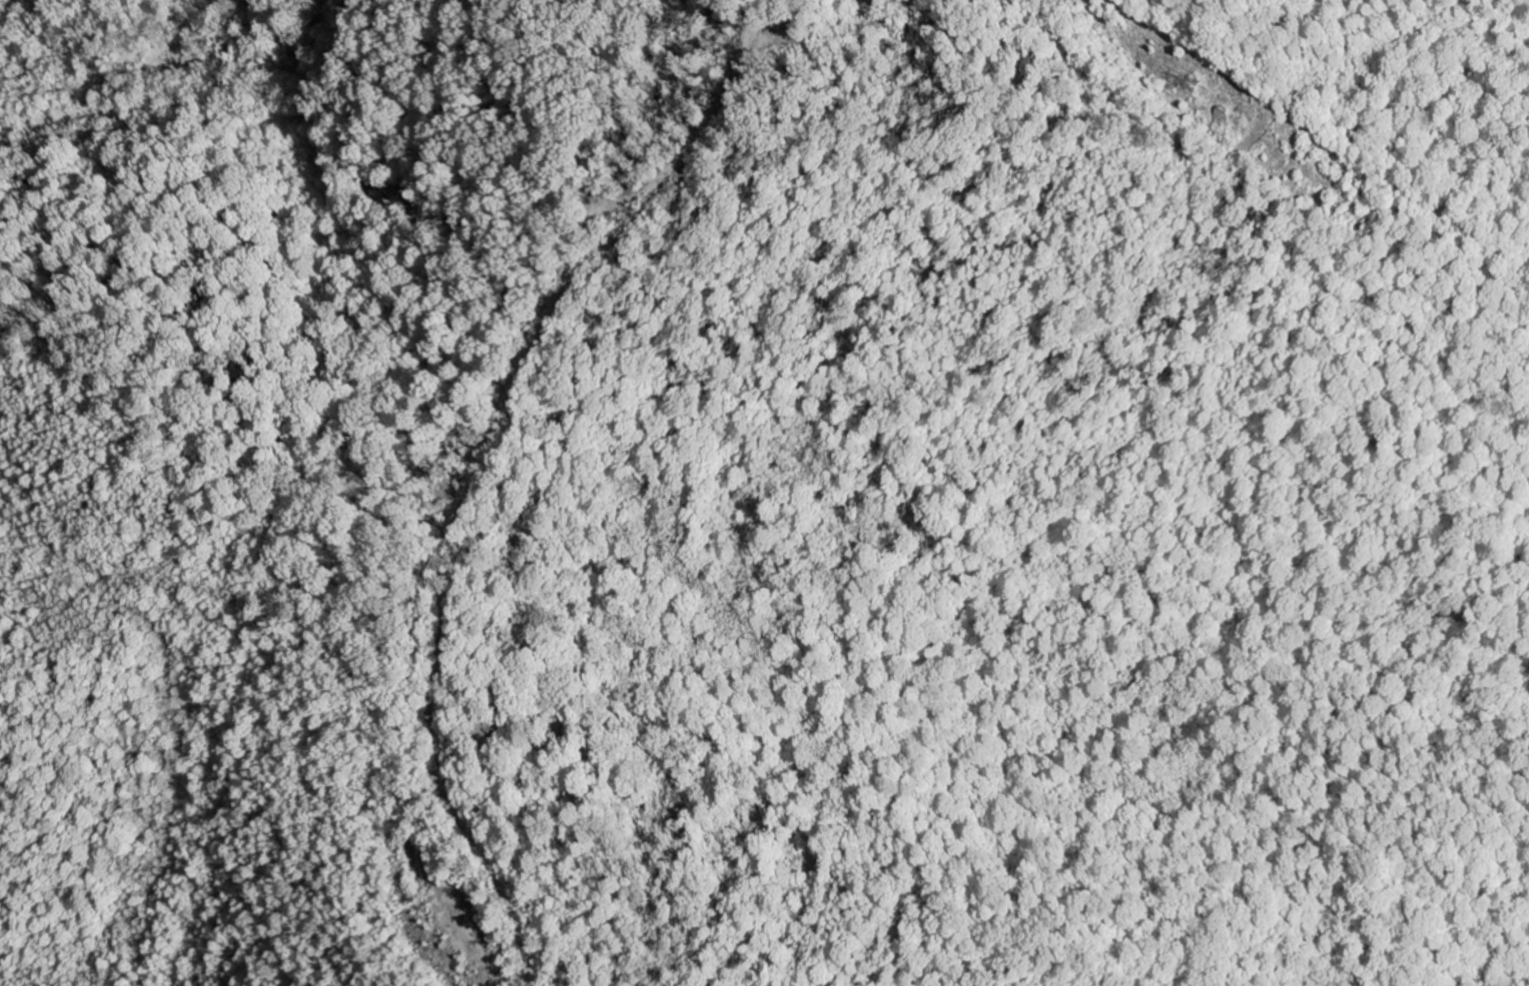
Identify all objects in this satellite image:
power tower: (1193, 82)

